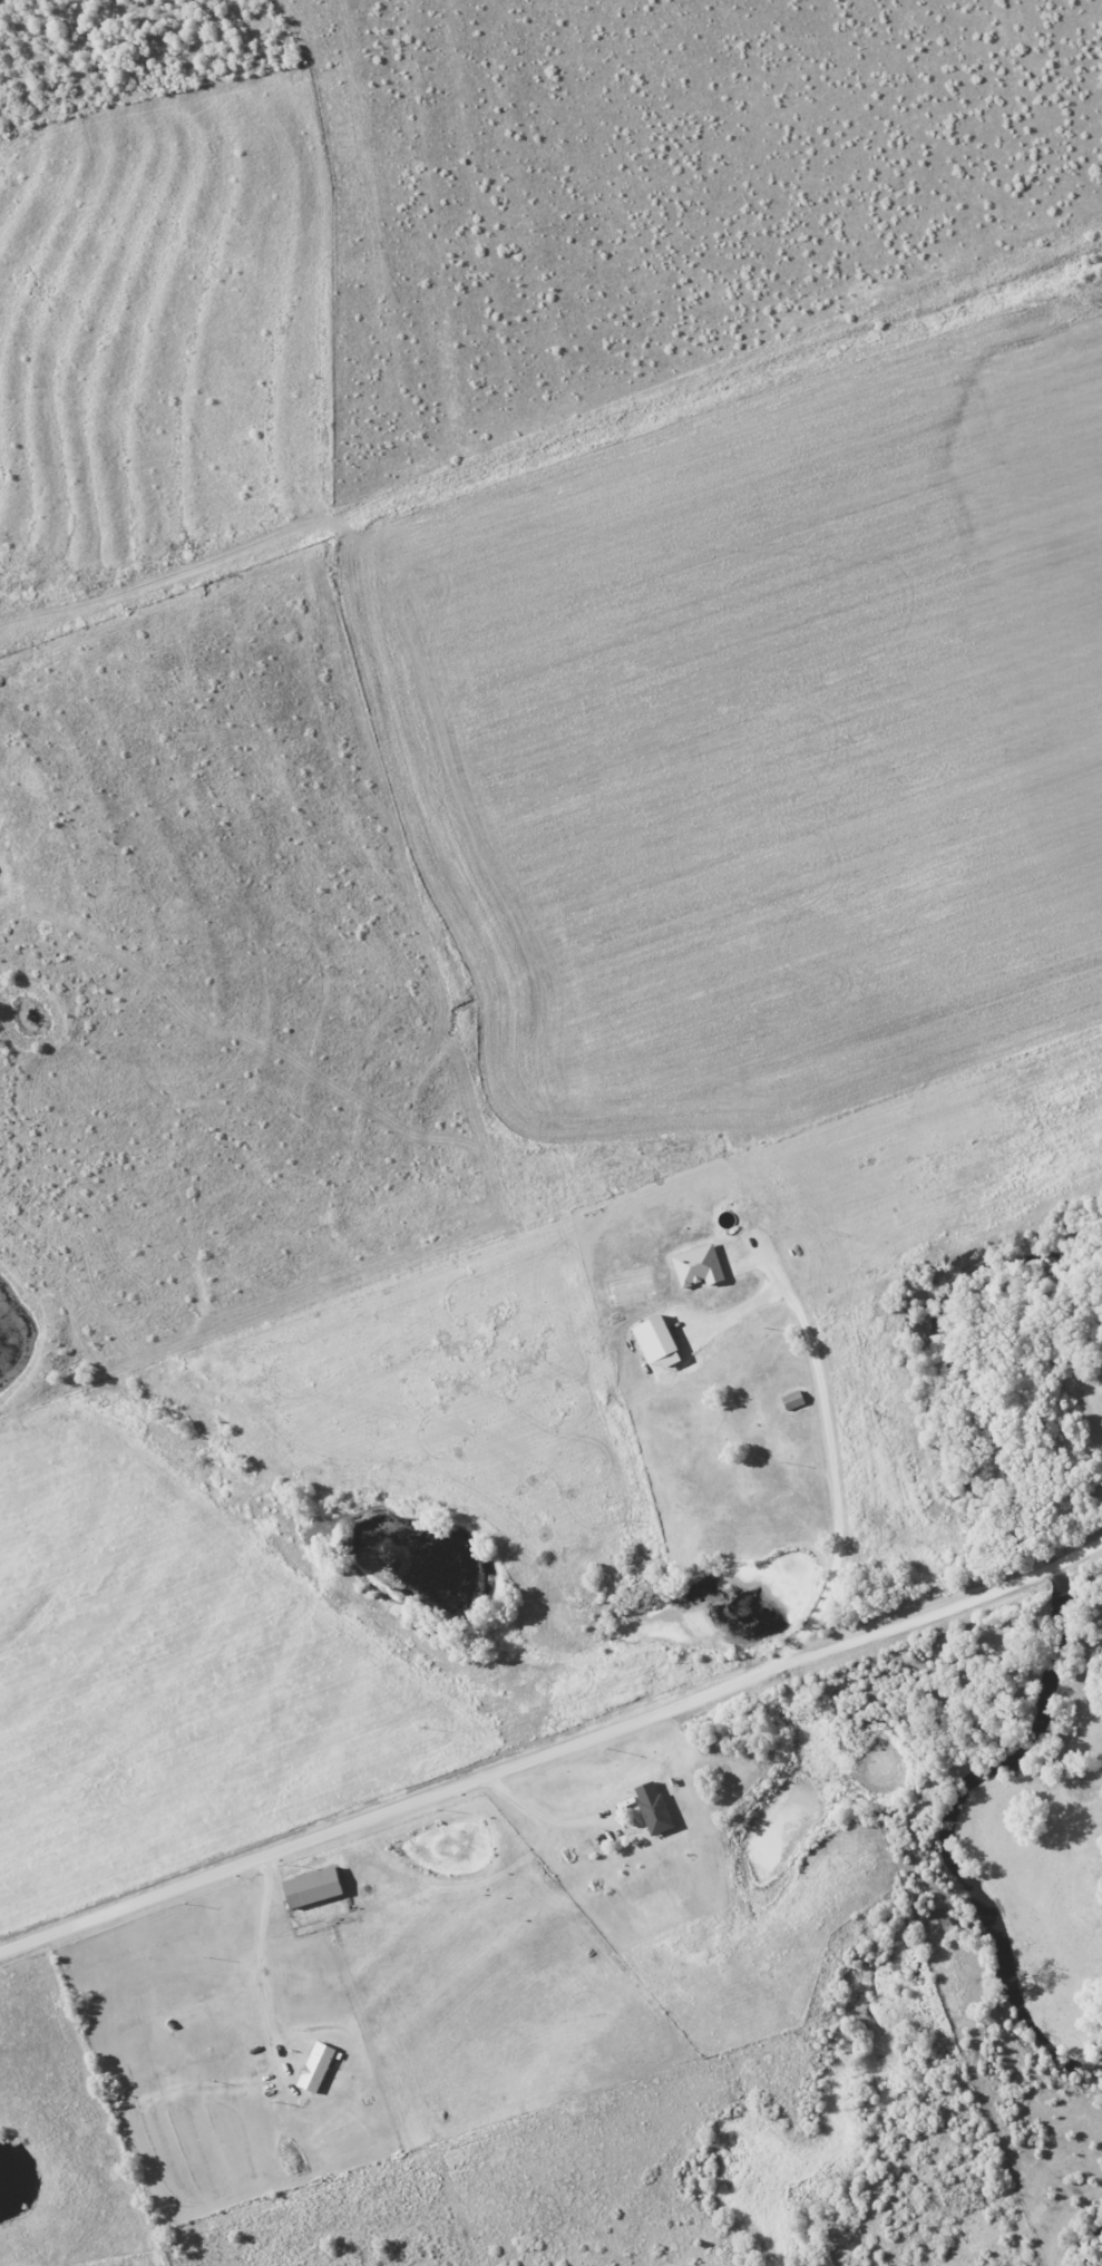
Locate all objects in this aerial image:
building: (699, 1265)
building: (659, 1340)
building: (794, 1399)
road: (849, 1488)
road: (552, 1760)
building: (654, 1807)
road: (542, 1829)
building: (314, 1887)
road: (259, 1965)
building: (316, 2066)

